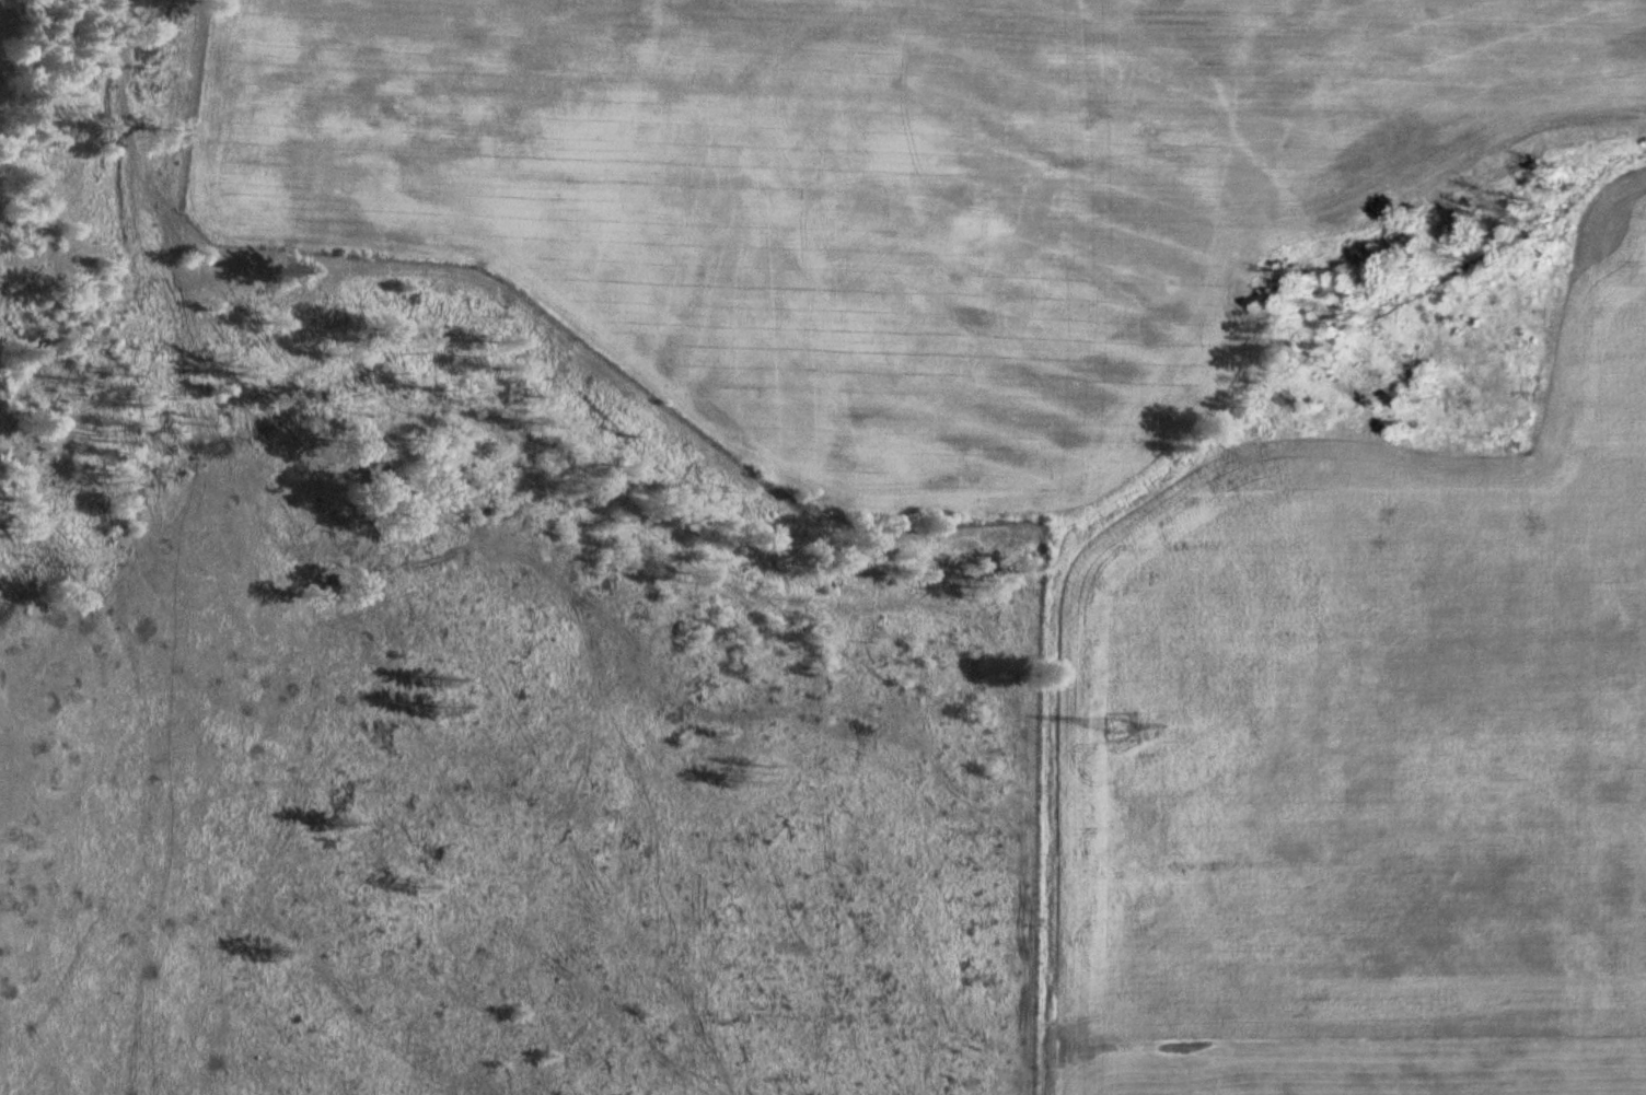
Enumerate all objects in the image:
power tower: (1114, 726)

